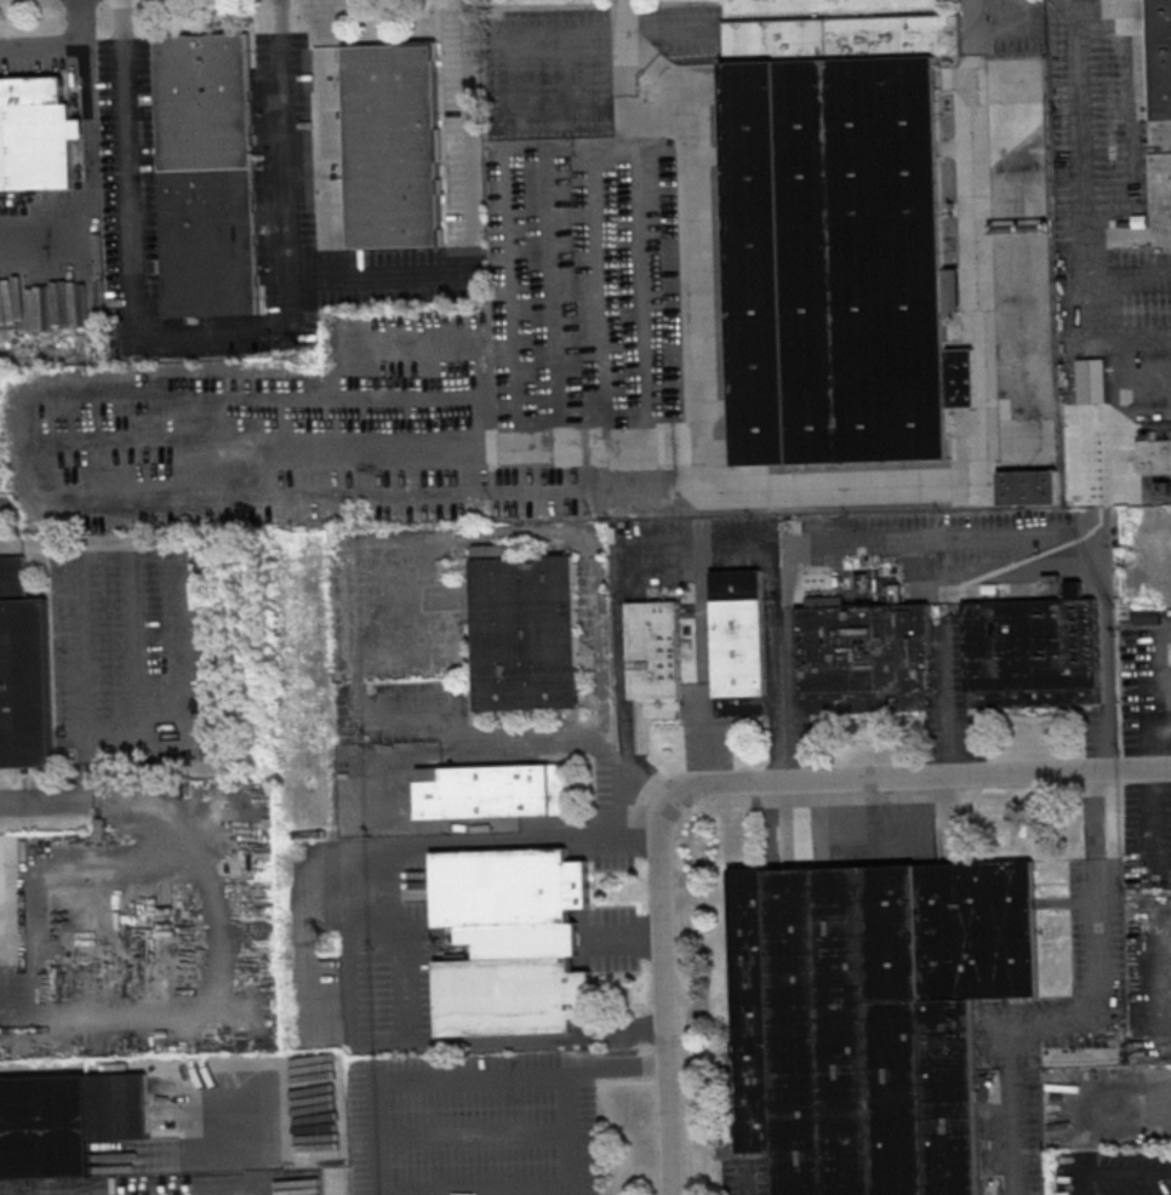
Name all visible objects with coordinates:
road: (619, 15)
road: (530, 33)
road: (67, 50)
road: (604, 86)
road: (1130, 112)
building: (1159, 115)
building: (34, 133)
building: (392, 144)
building: (206, 175)
road: (1079, 206)
road: (472, 218)
building: (838, 240)
road: (1131, 279)
road: (210, 341)
power tower: (305, 359)
building: (1091, 381)
building: (1148, 456)
road: (819, 482)
building: (1028, 487)
road: (864, 545)
road: (1167, 556)
road: (1104, 577)
building: (1146, 617)
road: (619, 618)
building: (524, 630)
building: (736, 642)
building: (1029, 652)
building: (864, 653)
building: (655, 657)
road: (699, 668)
building: (23, 671)
road: (85, 685)
road: (1164, 686)
road: (1169, 741)
road: (1167, 754)
road: (918, 777)
road: (1093, 784)
building: (482, 790)
road: (44, 805)
building: (510, 940)
power tower: (326, 945)
road: (375, 948)
road: (658, 997)
building: (870, 1017)
road: (1081, 1019)
road: (435, 1080)
road: (564, 1086)
parking lot: (474, 1122)
building: (45, 1136)
road: (748, 1183)
parking lot: (175, 1184)
road: (504, 1193)
road: (287, 1194)

